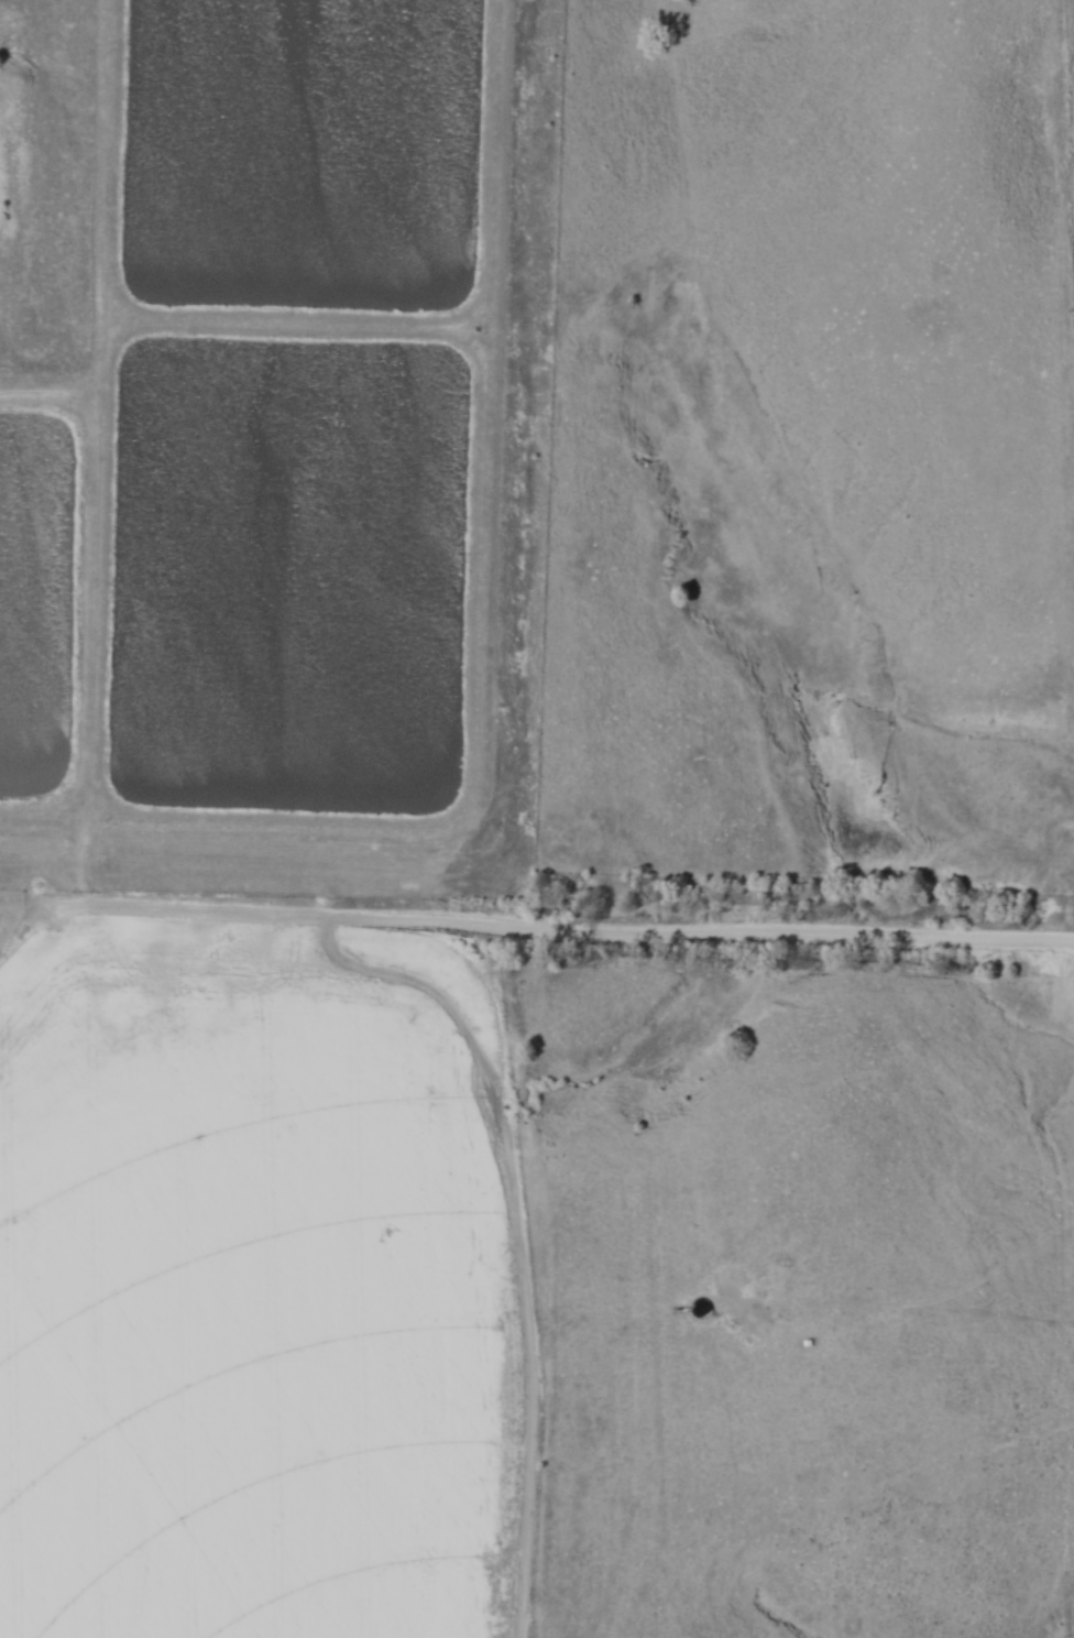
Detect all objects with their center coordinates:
wastewater plant: (274, 440)
road: (789, 939)

